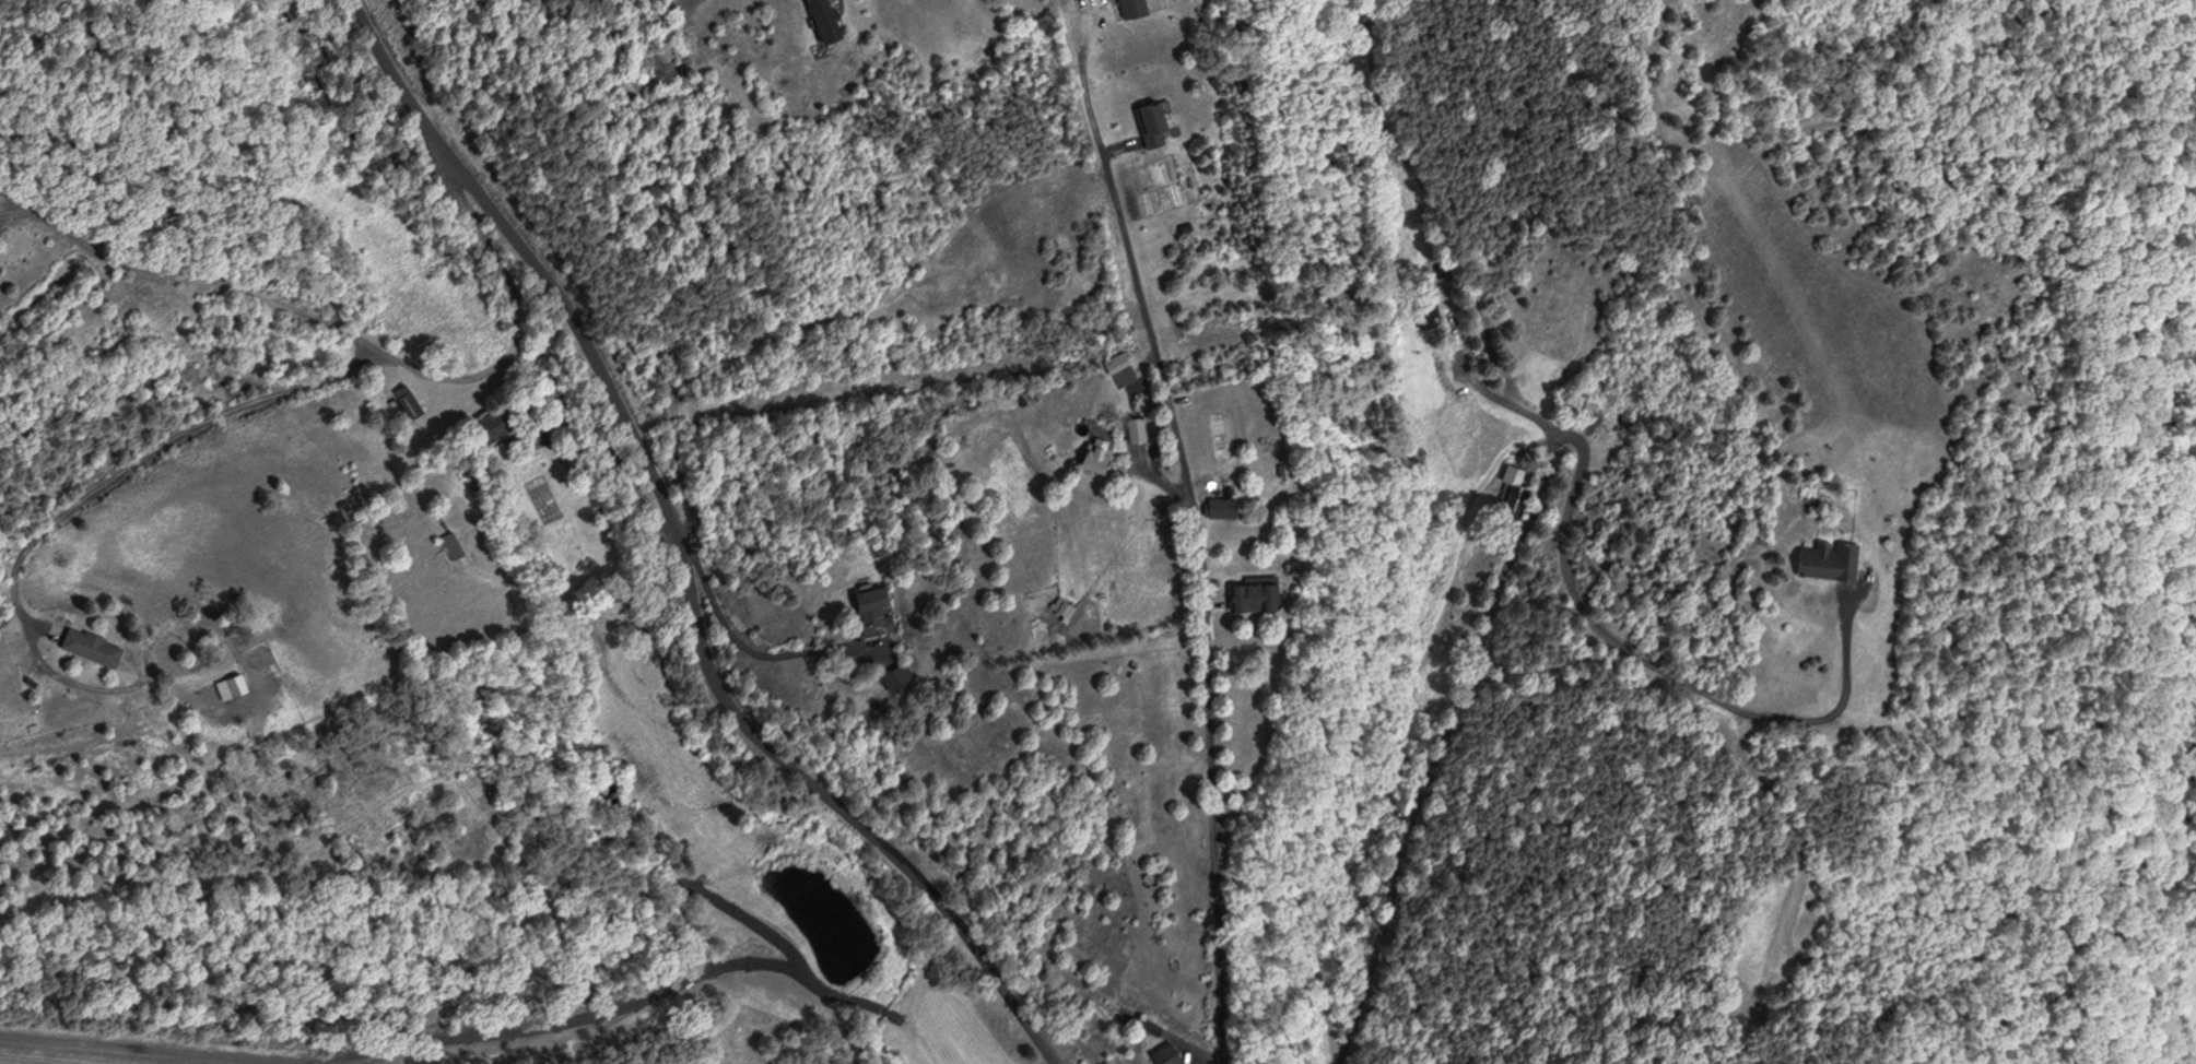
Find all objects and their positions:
road: (682, 7)
building: (1127, 7)
building: (817, 19)
building: (1147, 121)
road: (13, 211)
road: (186, 277)
building: (1423, 309)
building: (1112, 363)
building: (223, 370)
road: (316, 378)
building: (404, 401)
building: (488, 427)
building: (1131, 428)
building: (1090, 453)
building: (1512, 495)
building: (1216, 507)
road: (1197, 525)
building: (446, 545)
road: (683, 555)
building: (1822, 559)
building: (1246, 595)
building: (867, 612)
road: (24, 614)
building: (85, 647)
road: (744, 650)
building: (893, 675)
building: (234, 685)
building: (1160, 1053)

